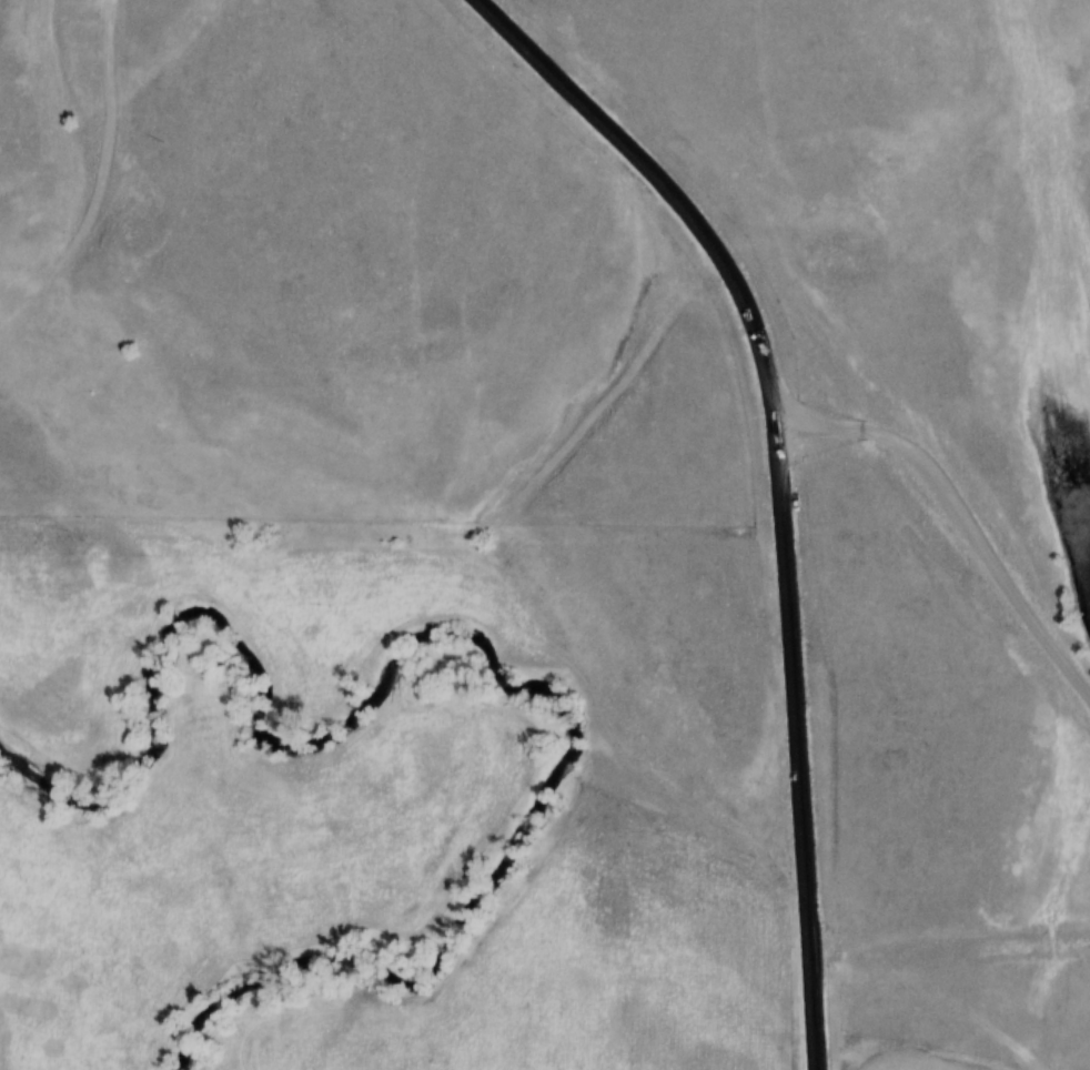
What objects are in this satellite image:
road: (774, 482)
road: (953, 516)

